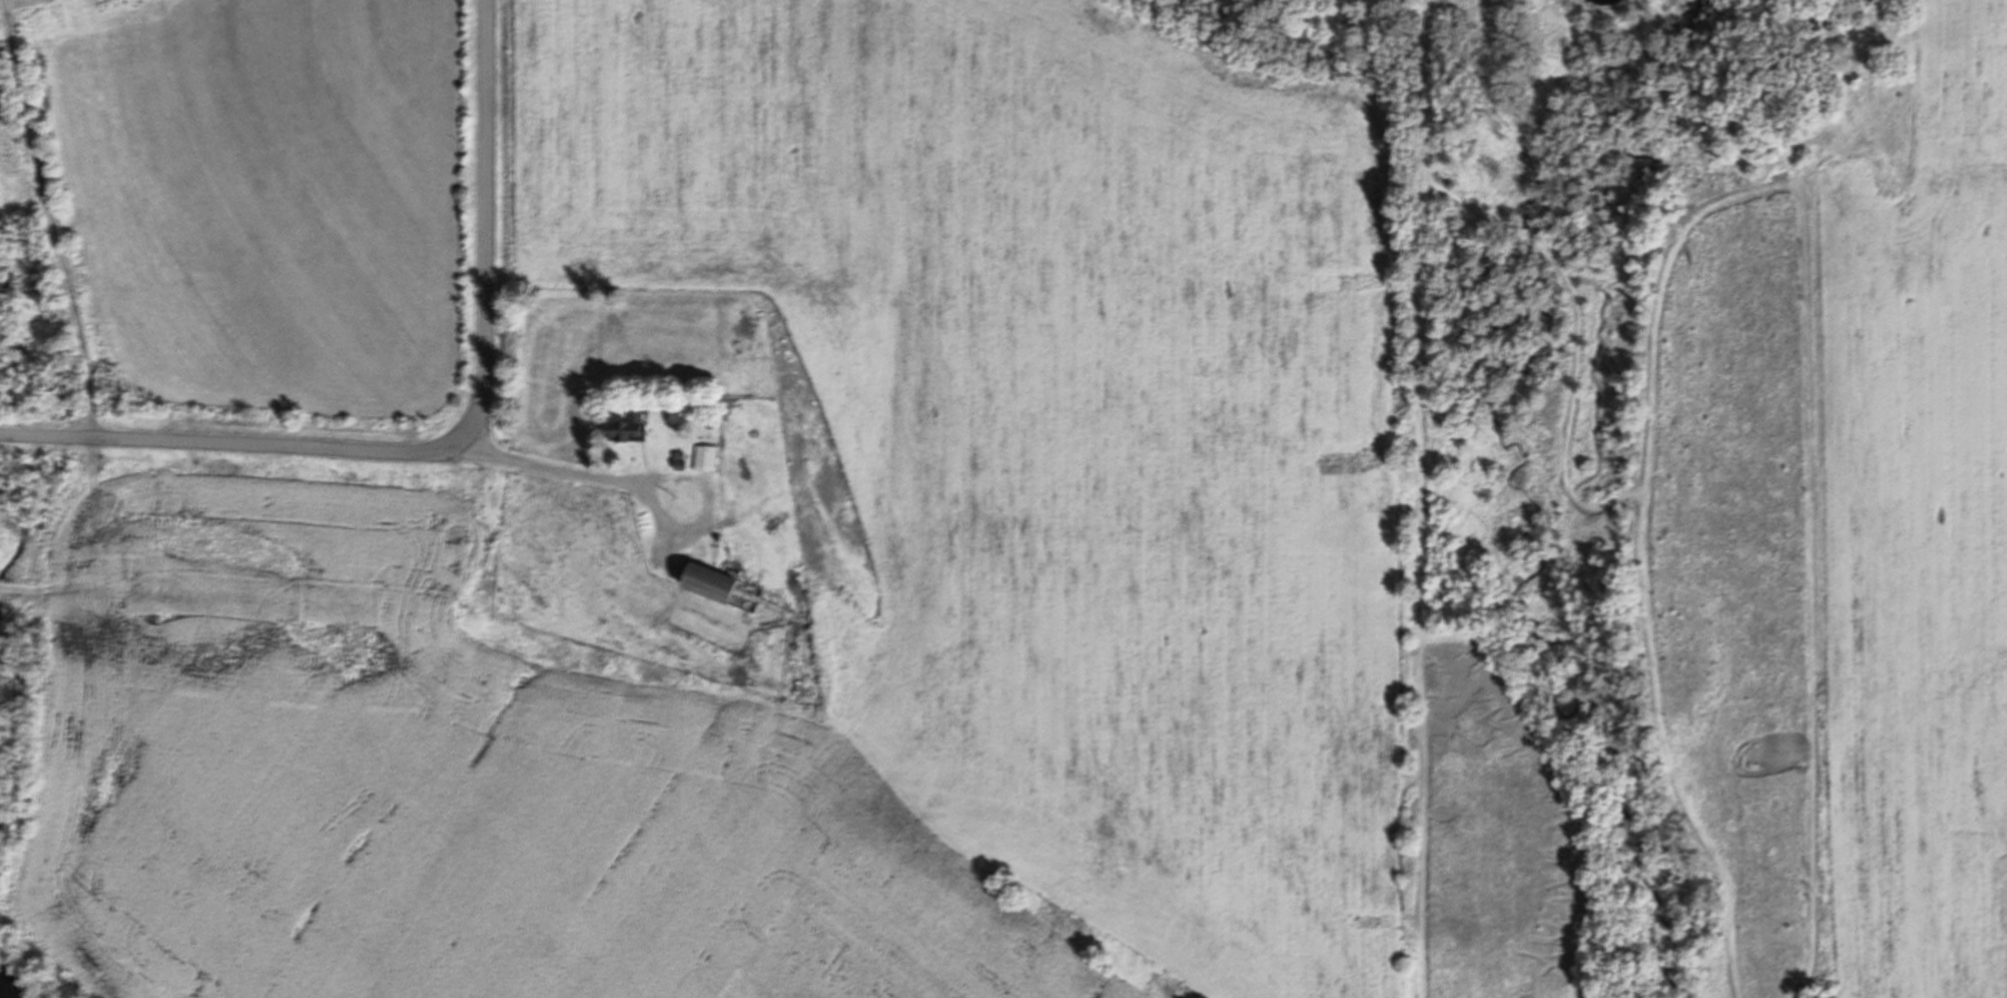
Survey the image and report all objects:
road: (51, 218)
building: (625, 429)
road: (449, 439)
road: (637, 482)
building: (720, 588)
building: (693, 623)

